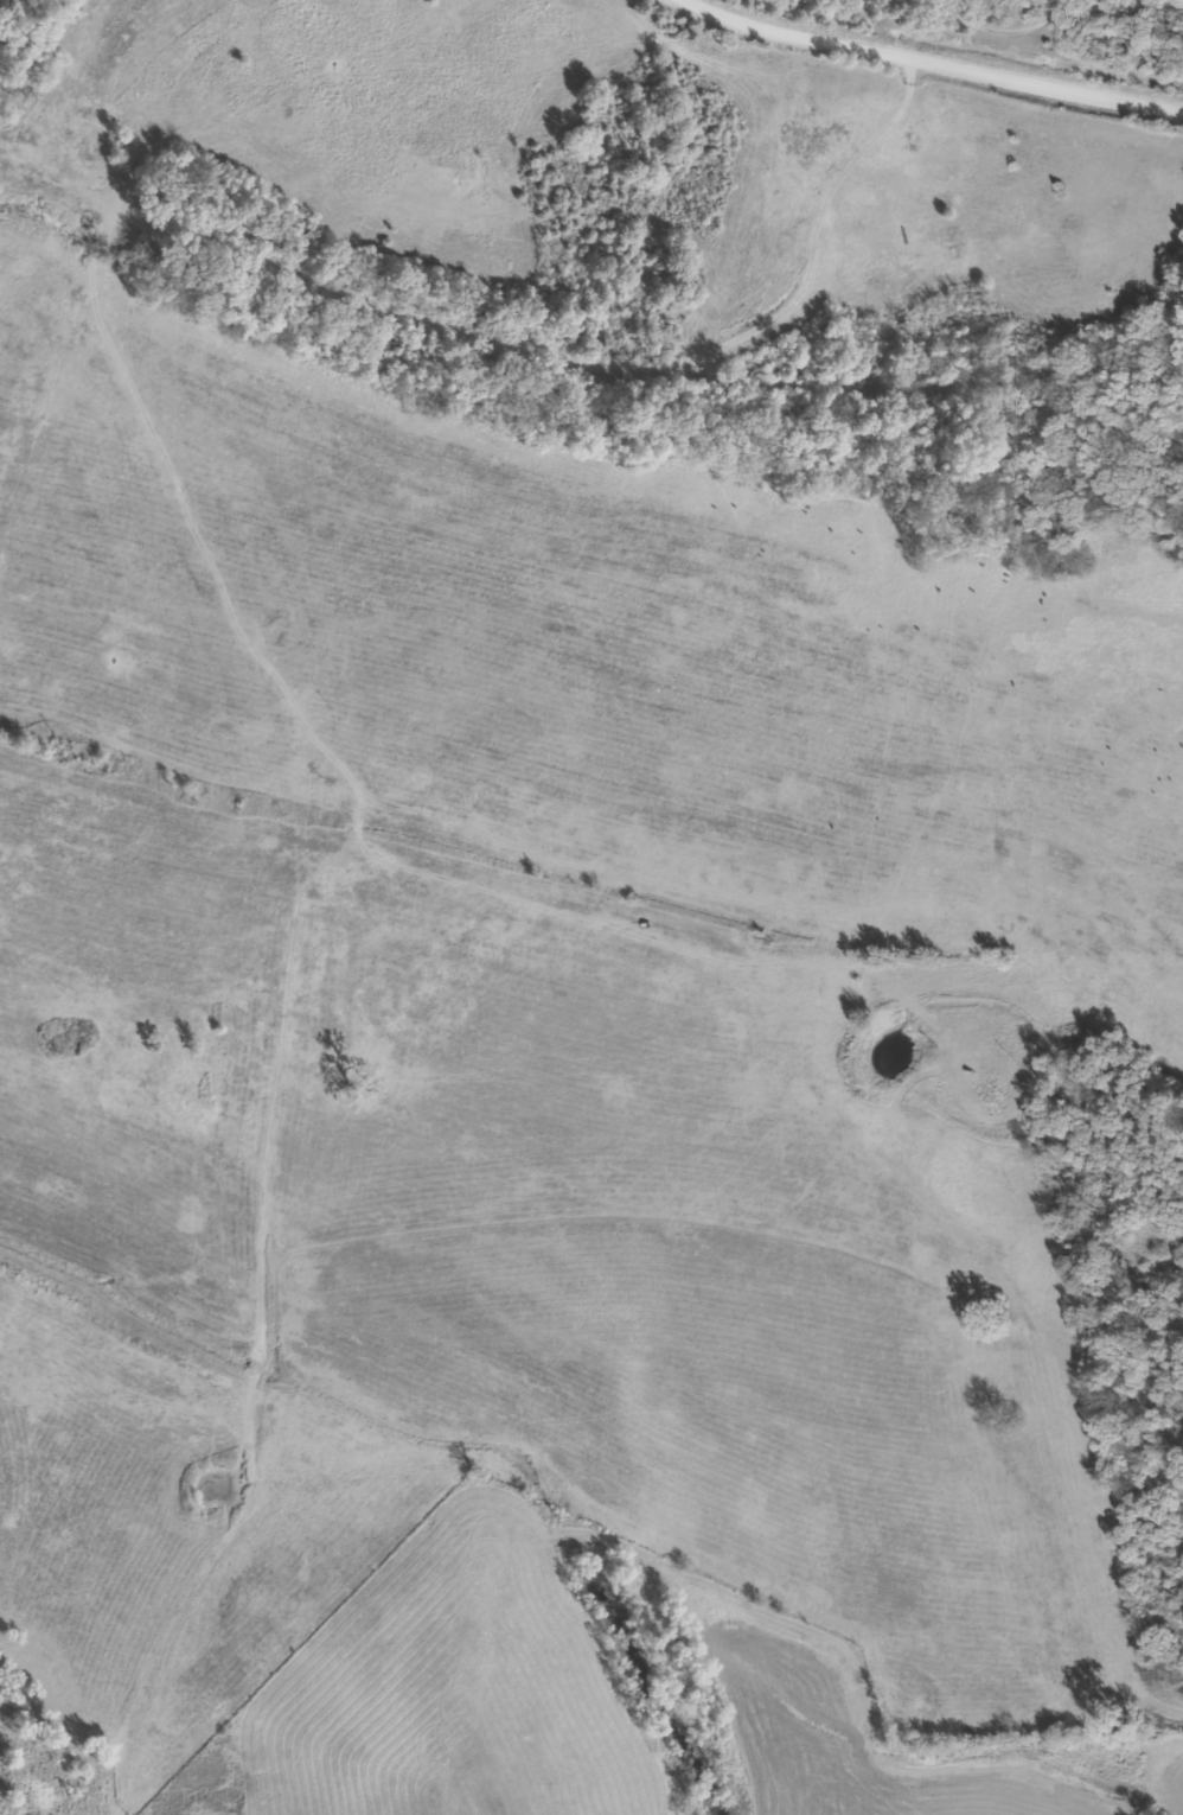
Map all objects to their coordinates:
road: (830, 18)
road: (897, 170)
railway: (574, 363)

